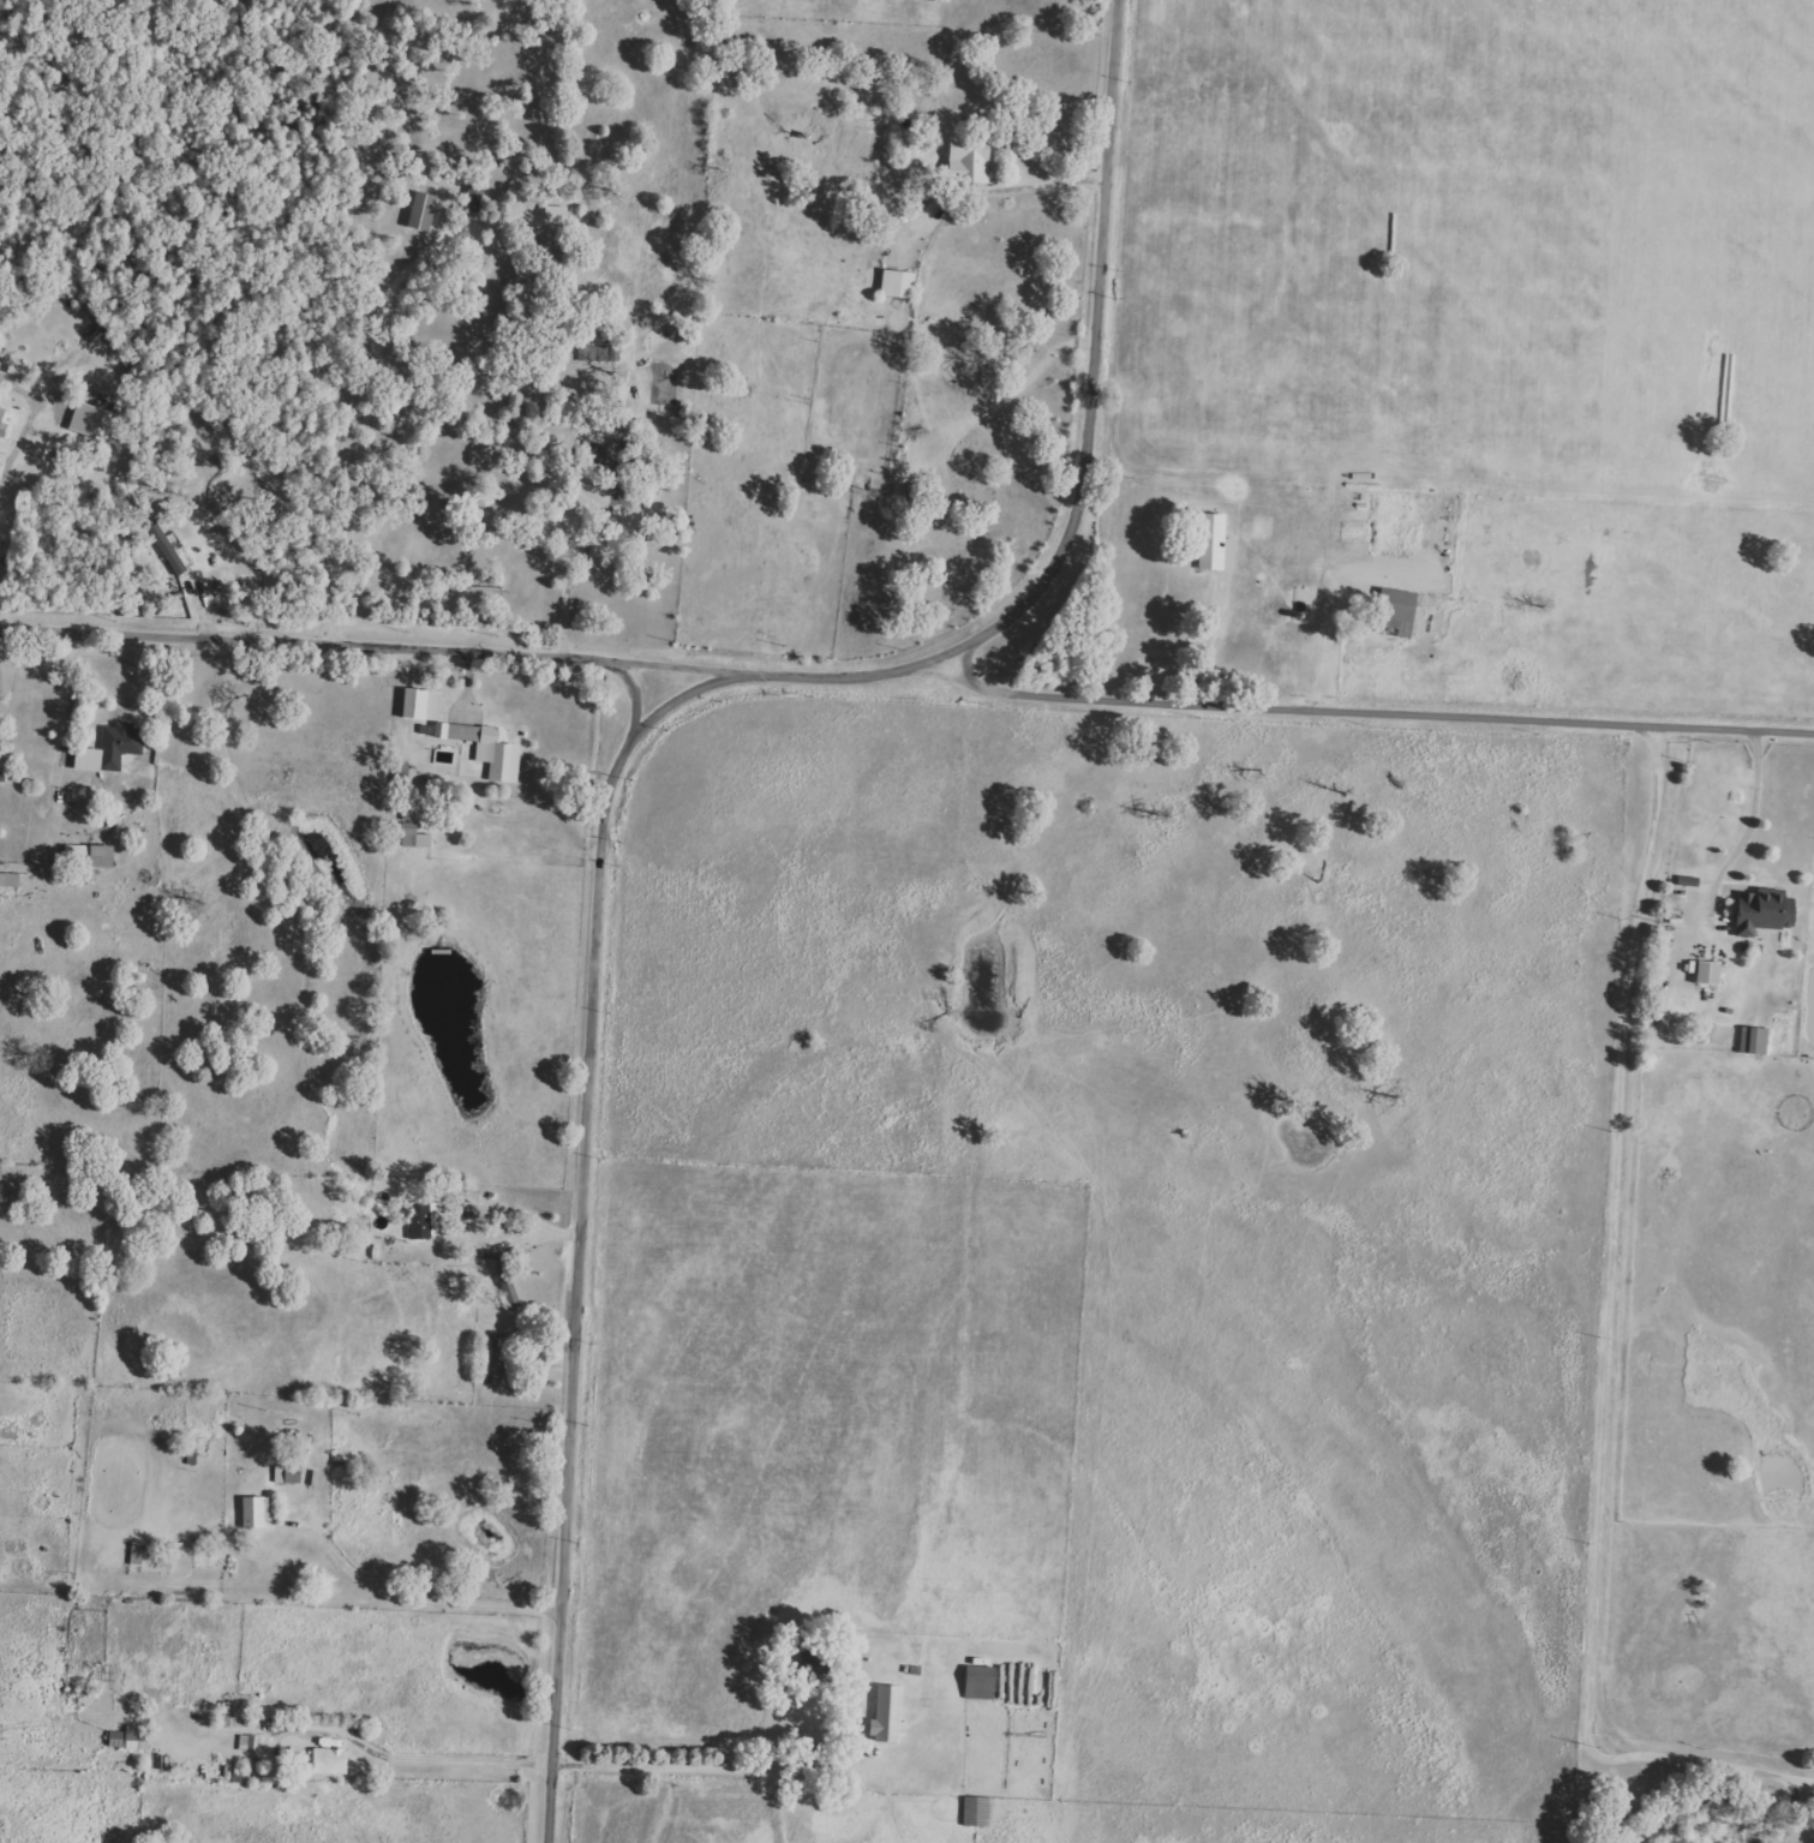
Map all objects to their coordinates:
building: (963, 156)
road: (1065, 176)
building: (471, 198)
building: (415, 211)
building: (892, 285)
building: (593, 353)
building: (2, 420)
building: (92, 420)
road: (16, 444)
road: (355, 454)
building: (1211, 541)
building: (167, 549)
road: (592, 560)
building: (1393, 608)
road: (1227, 640)
road: (353, 659)
building: (424, 704)
road: (1395, 713)
building: (486, 747)
building: (112, 748)
road: (658, 773)
road: (1758, 801)
building: (414, 836)
building: (78, 854)
building: (103, 856)
building: (10, 879)
building: (1759, 910)
building: (1704, 971)
building: (1750, 1040)
road: (527, 1217)
building: (420, 1221)
building: (505, 1281)
road: (1618, 1338)
building: (288, 1474)
building: (258, 1512)
road: (423, 1596)
building: (976, 1682)
building: (234, 1715)
building: (882, 1715)
building: (128, 1737)
building: (249, 1743)
road: (382, 1754)
building: (322, 1761)
road: (696, 1765)

